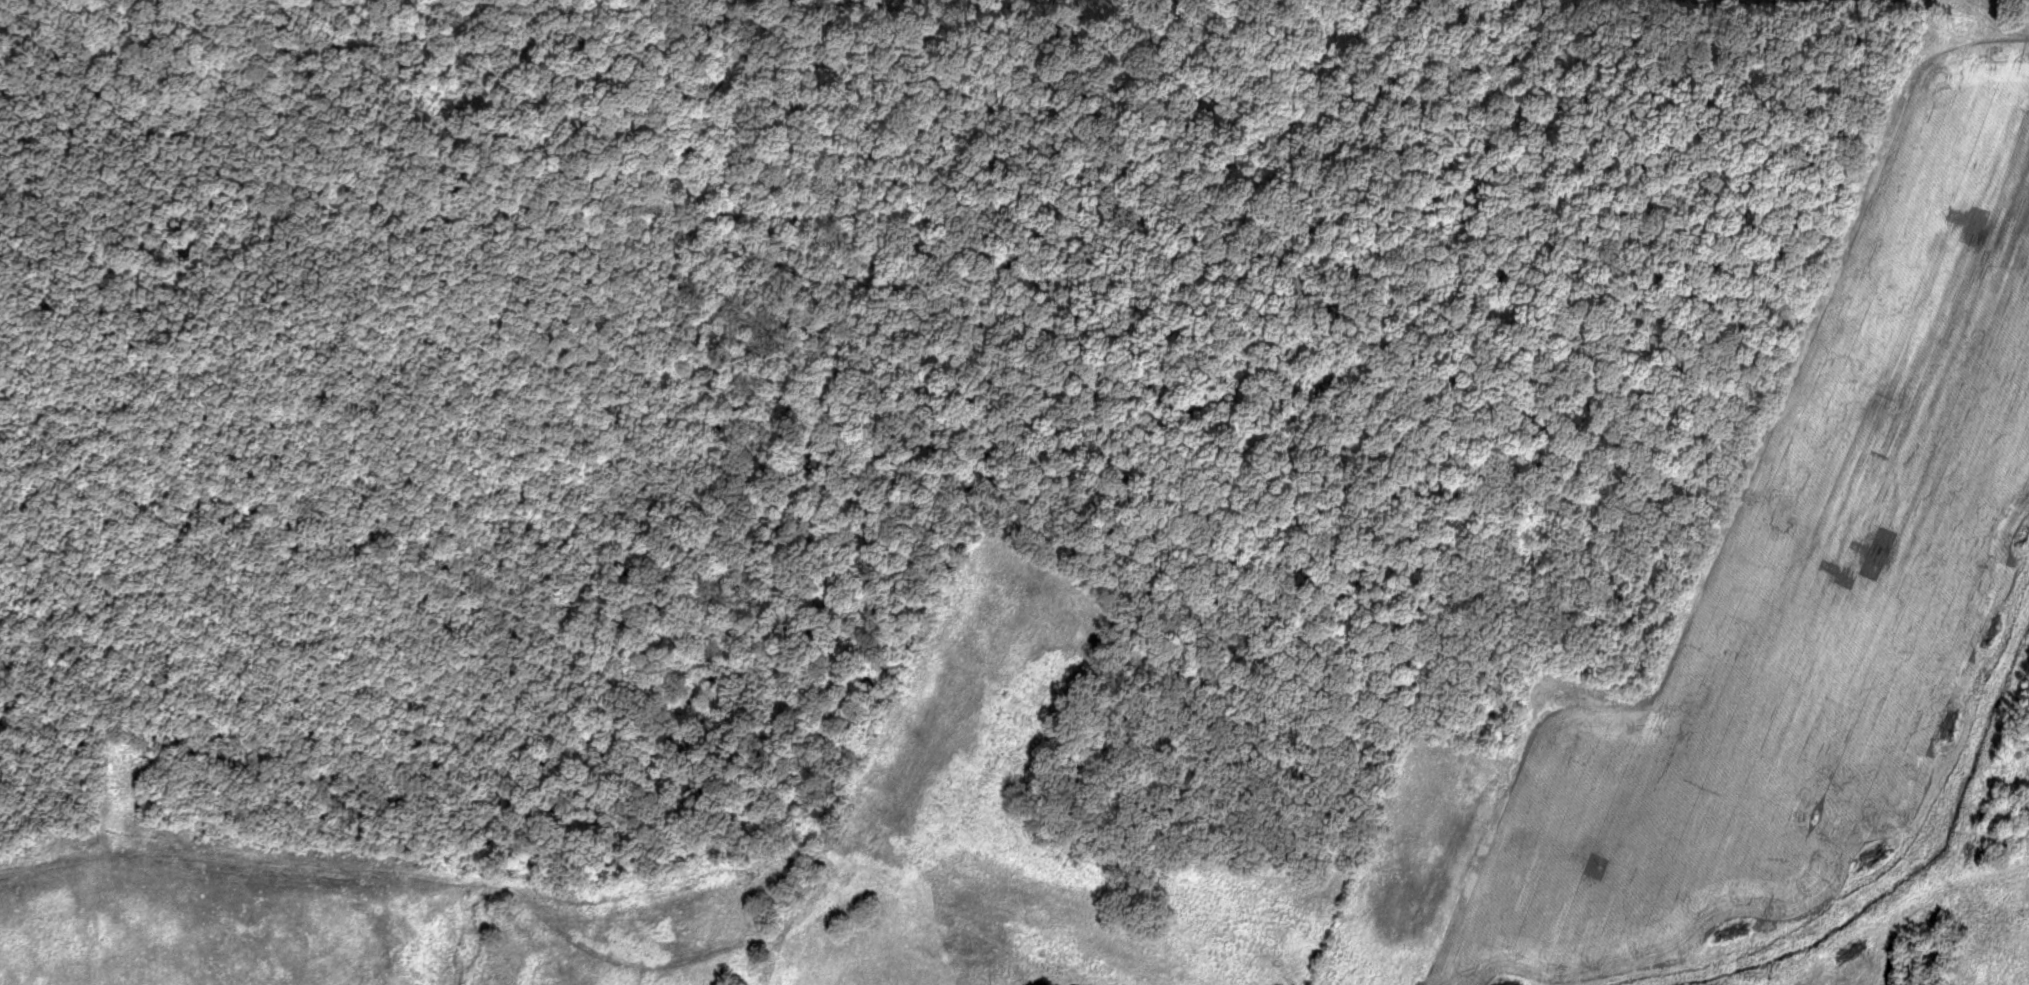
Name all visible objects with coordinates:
road: (535, 875)

